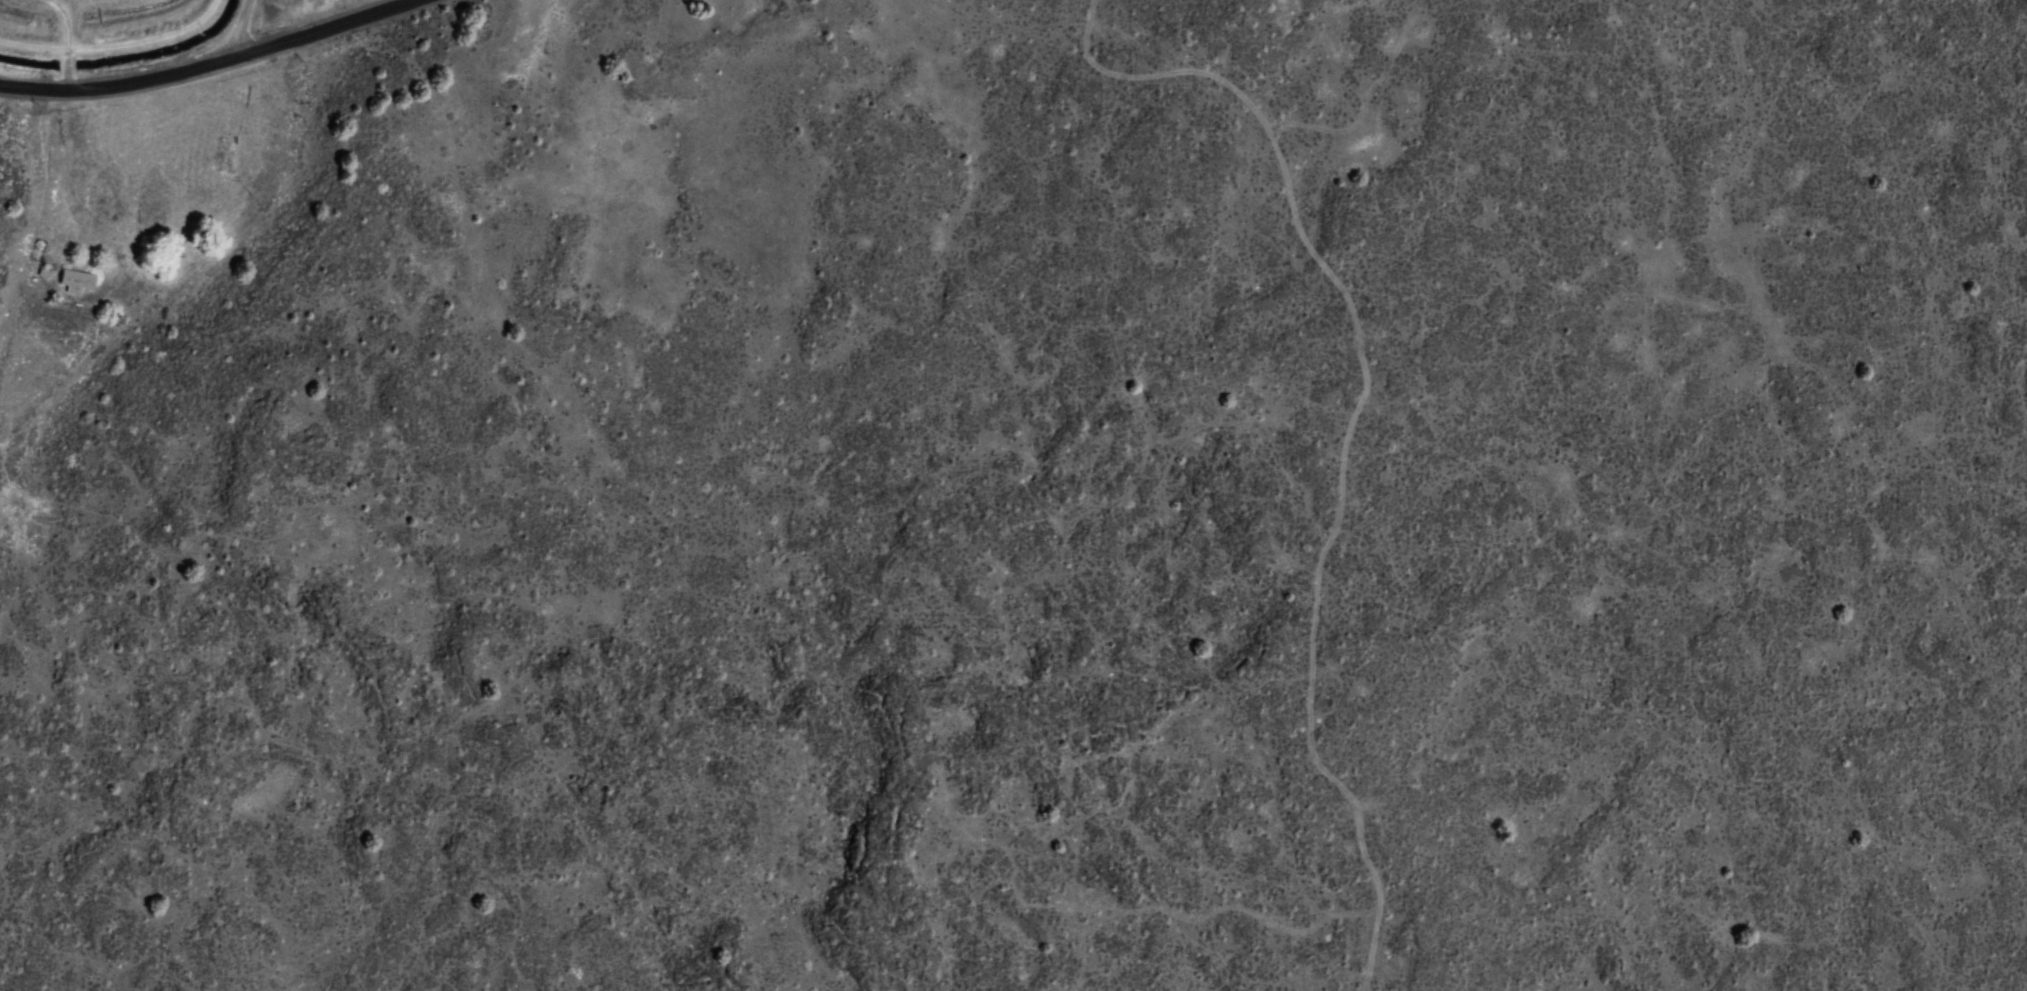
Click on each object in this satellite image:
road: (214, 66)
building: (74, 277)
road: (1353, 428)

